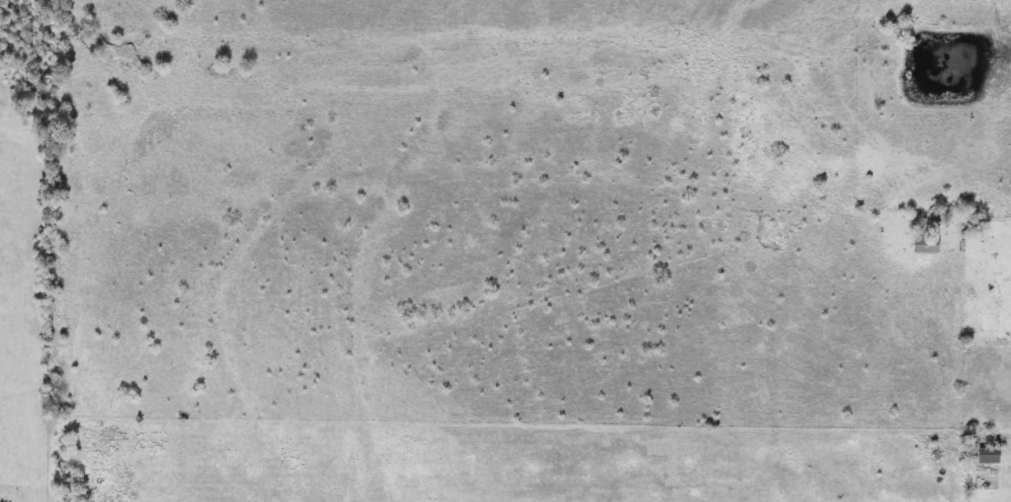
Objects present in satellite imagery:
building: (925, 246)
building: (988, 457)

